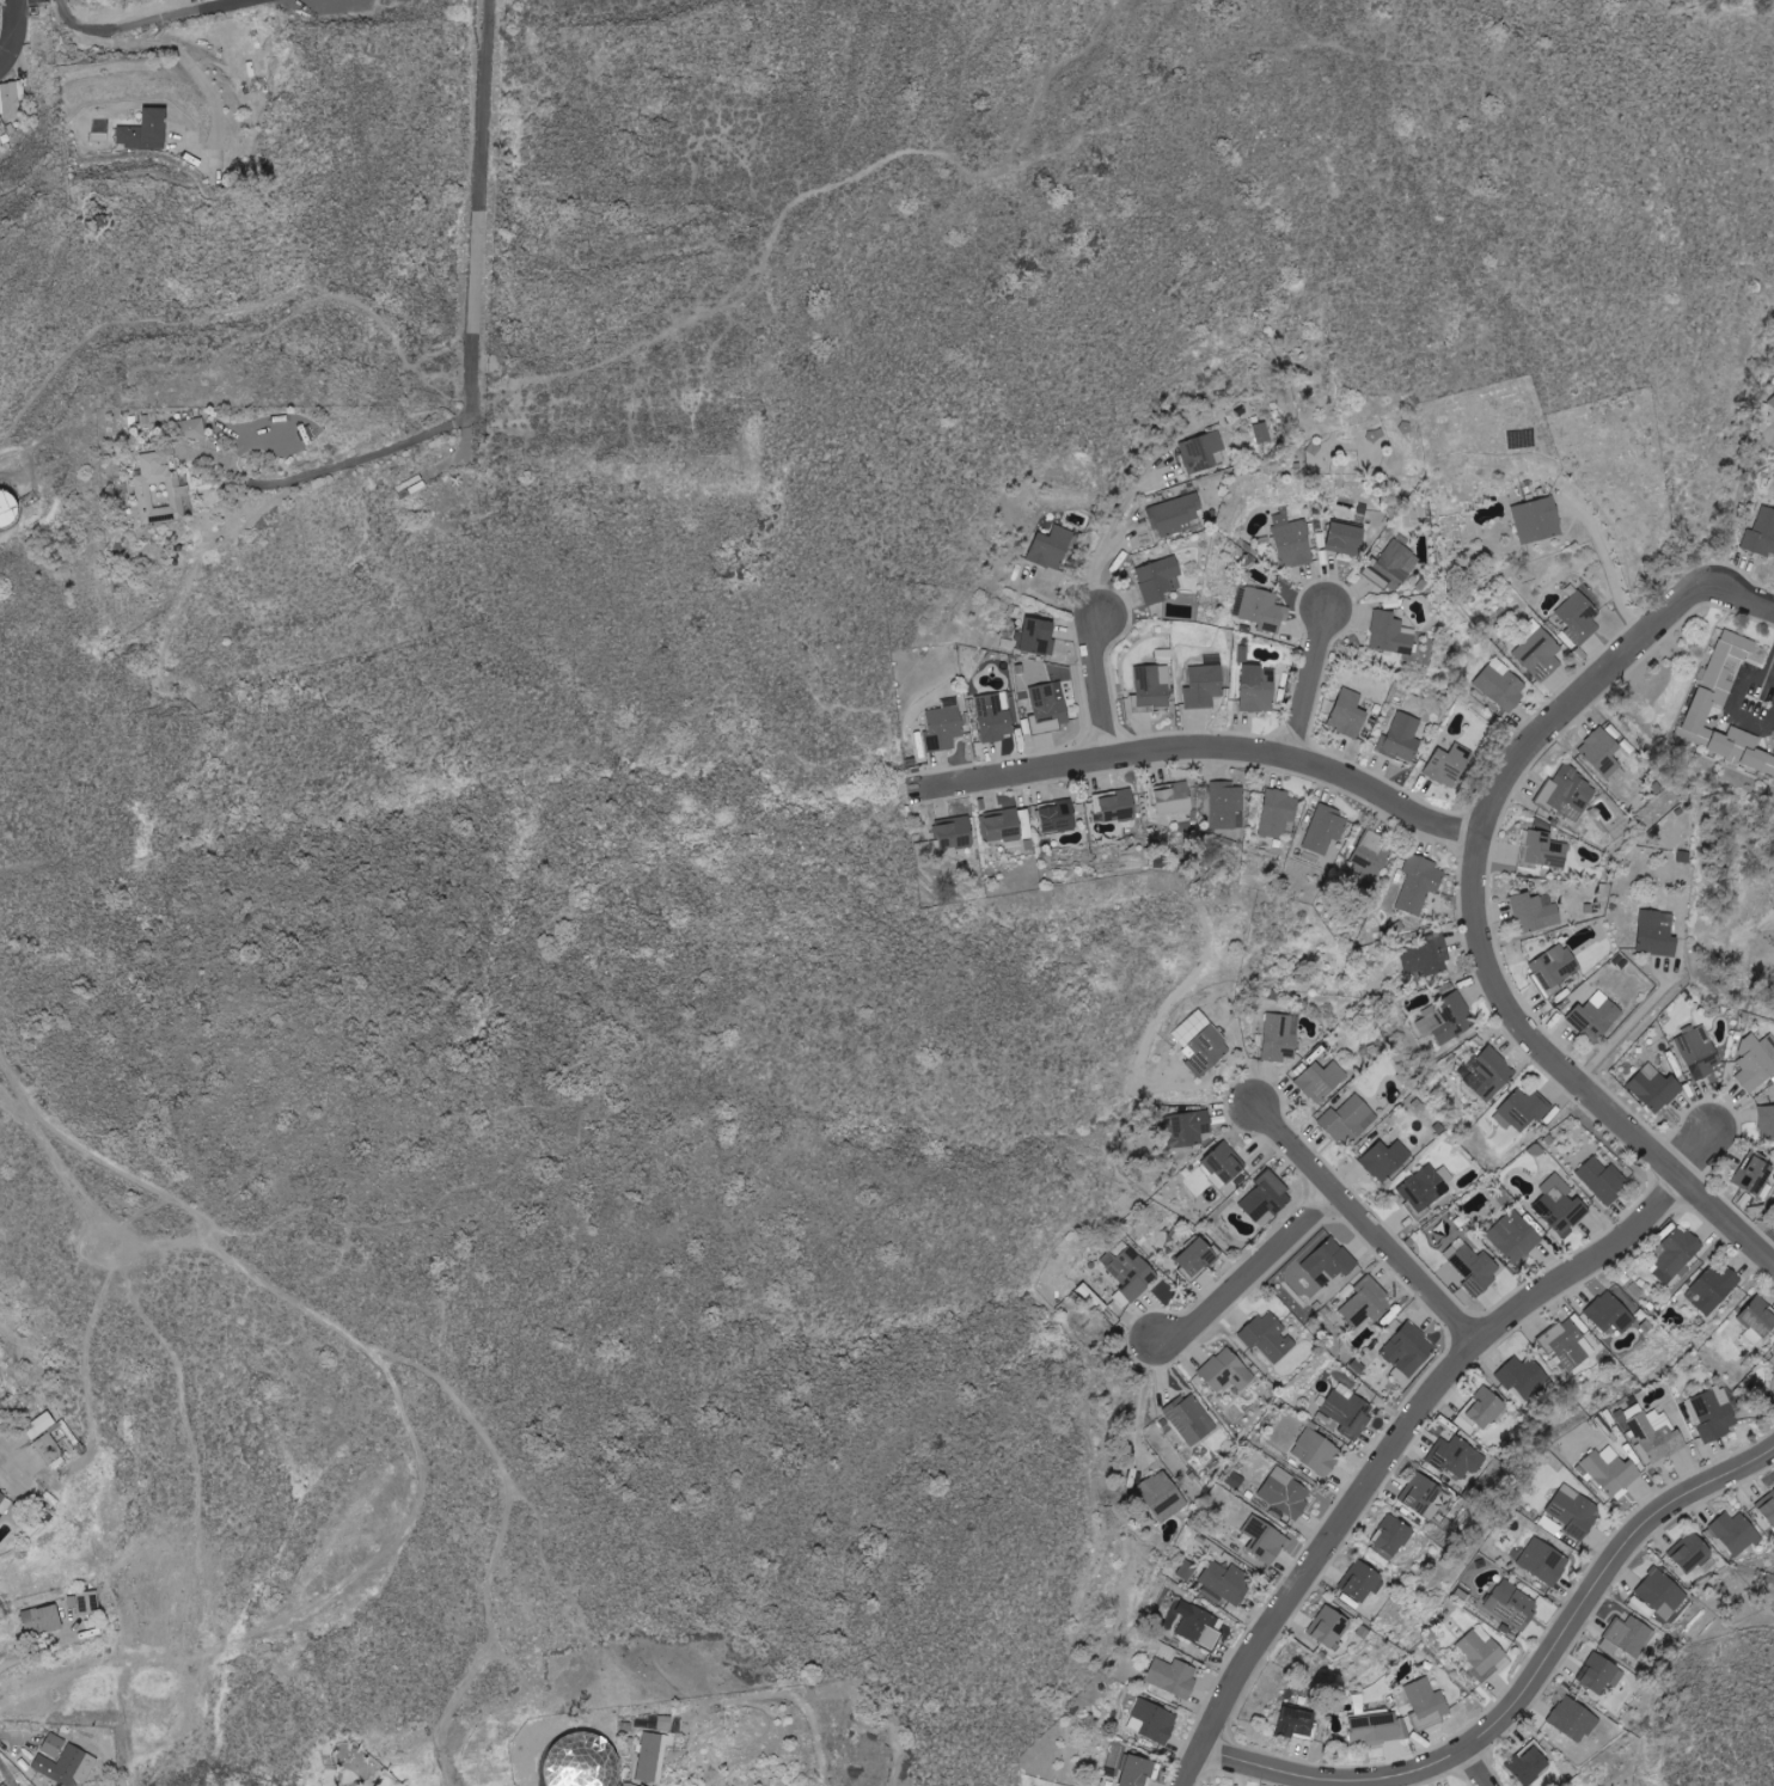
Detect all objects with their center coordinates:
road: (67, 16)
road: (157, 18)
road: (14, 32)
road: (170, 51)
building: (11, 99)
building: (0, 127)
building: (142, 129)
building: (0, 141)
road: (478, 216)
building: (196, 428)
building: (1262, 433)
building: (1203, 452)
road: (310, 473)
building: (161, 489)
building: (8, 508)
storage tank: (8, 508)
road: (1735, 513)
building: (1177, 514)
building: (1539, 520)
building: (1763, 532)
road: (1105, 537)
building: (1347, 539)
building: (1293, 540)
building: (1051, 548)
building: (1394, 565)
road: (1608, 568)
building: (1160, 579)
building: (1264, 610)
building: (1579, 618)
building: (1391, 634)
building: (1038, 637)
building: (1540, 653)
road: (1769, 666)
building: (1723, 677)
road: (1769, 677)
road: (1308, 681)
building: (1205, 684)
road: (1097, 686)
building: (1151, 687)
building: (1260, 689)
building: (1507, 690)
road: (1729, 707)
building: (1048, 708)
building: (1348, 714)
building: (995, 716)
building: (944, 726)
building: (1402, 739)
road: (1203, 747)
building: (1723, 747)
building: (1603, 752)
building: (1450, 765)
building: (1570, 794)
building: (1175, 799)
building: (1120, 806)
building: (1226, 806)
building: (1278, 812)
building: (1060, 816)
building: (1009, 825)
building: (1326, 828)
building: (956, 832)
building: (1543, 850)
building: (1371, 855)
building: (1418, 885)
road: (1473, 903)
building: (1537, 912)
building: (1658, 934)
building: (1427, 956)
building: (1554, 971)
building: (1597, 1016)
building: (1448, 1021)
road: (1628, 1023)
building: (1280, 1039)
building: (1203, 1042)
building: (1699, 1052)
building: (1756, 1062)
building: (1489, 1076)
building: (1322, 1081)
building: (1656, 1088)
building: (1522, 1111)
building: (1350, 1120)
building: (1767, 1121)
building: (1197, 1126)
road: (1696, 1146)
building: (1387, 1161)
building: (1223, 1166)
building: (1755, 1174)
building: (1603, 1180)
building: (1426, 1188)
building: (1267, 1199)
building: (1561, 1206)
road: (1365, 1223)
building: (1516, 1237)
building: (1198, 1255)
building: (1677, 1256)
building: (1332, 1261)
building: (1476, 1270)
road: (1250, 1271)
building: (1714, 1287)
building: (1368, 1303)
building: (1614, 1310)
building: (1760, 1319)
building: (1270, 1338)
building: (1567, 1345)
building: (1408, 1352)
building: (1228, 1370)
road: (1161, 1371)
building: (1525, 1377)
road: (1140, 1401)
building: (1487, 1409)
building: (1348, 1411)
building: (1712, 1415)
building: (1192, 1419)
building: (41, 1424)
building: (1656, 1436)
road: (1390, 1446)
building: (50, 1450)
building: (1317, 1451)
building: (1457, 1457)
building: (1611, 1472)
building: (1236, 1481)
building: (1285, 1493)
building: (1163, 1496)
building: (1423, 1496)
building: (2, 1497)
building: (1767, 1507)
building: (1574, 1511)
building: (1395, 1534)
building: (1737, 1534)
building: (1267, 1540)
building: (1692, 1552)
building: (1543, 1561)
building: (1360, 1579)
building: (1225, 1583)
building: (1662, 1592)
building: (88, 1602)
building: (1512, 1605)
building: (43, 1619)
building: (1329, 1625)
building: (1203, 1626)
building: (1628, 1637)
building: (1482, 1653)
road: (36, 1657)
building: (1602, 1672)
building: (1174, 1676)
road: (1523, 1690)
building: (1429, 1702)
building: (1574, 1719)
building: (1156, 1720)
building: (1301, 1721)
building: (666, 1723)
building: (1380, 1727)
building: (53, 1745)
building: (654, 1755)
building: (580, 1762)
storage tank: (580, 1762)
building: (1529, 1763)
building: (67, 1766)
road: (1475, 1767)
building: (1138, 1770)
building: (4, 1785)

